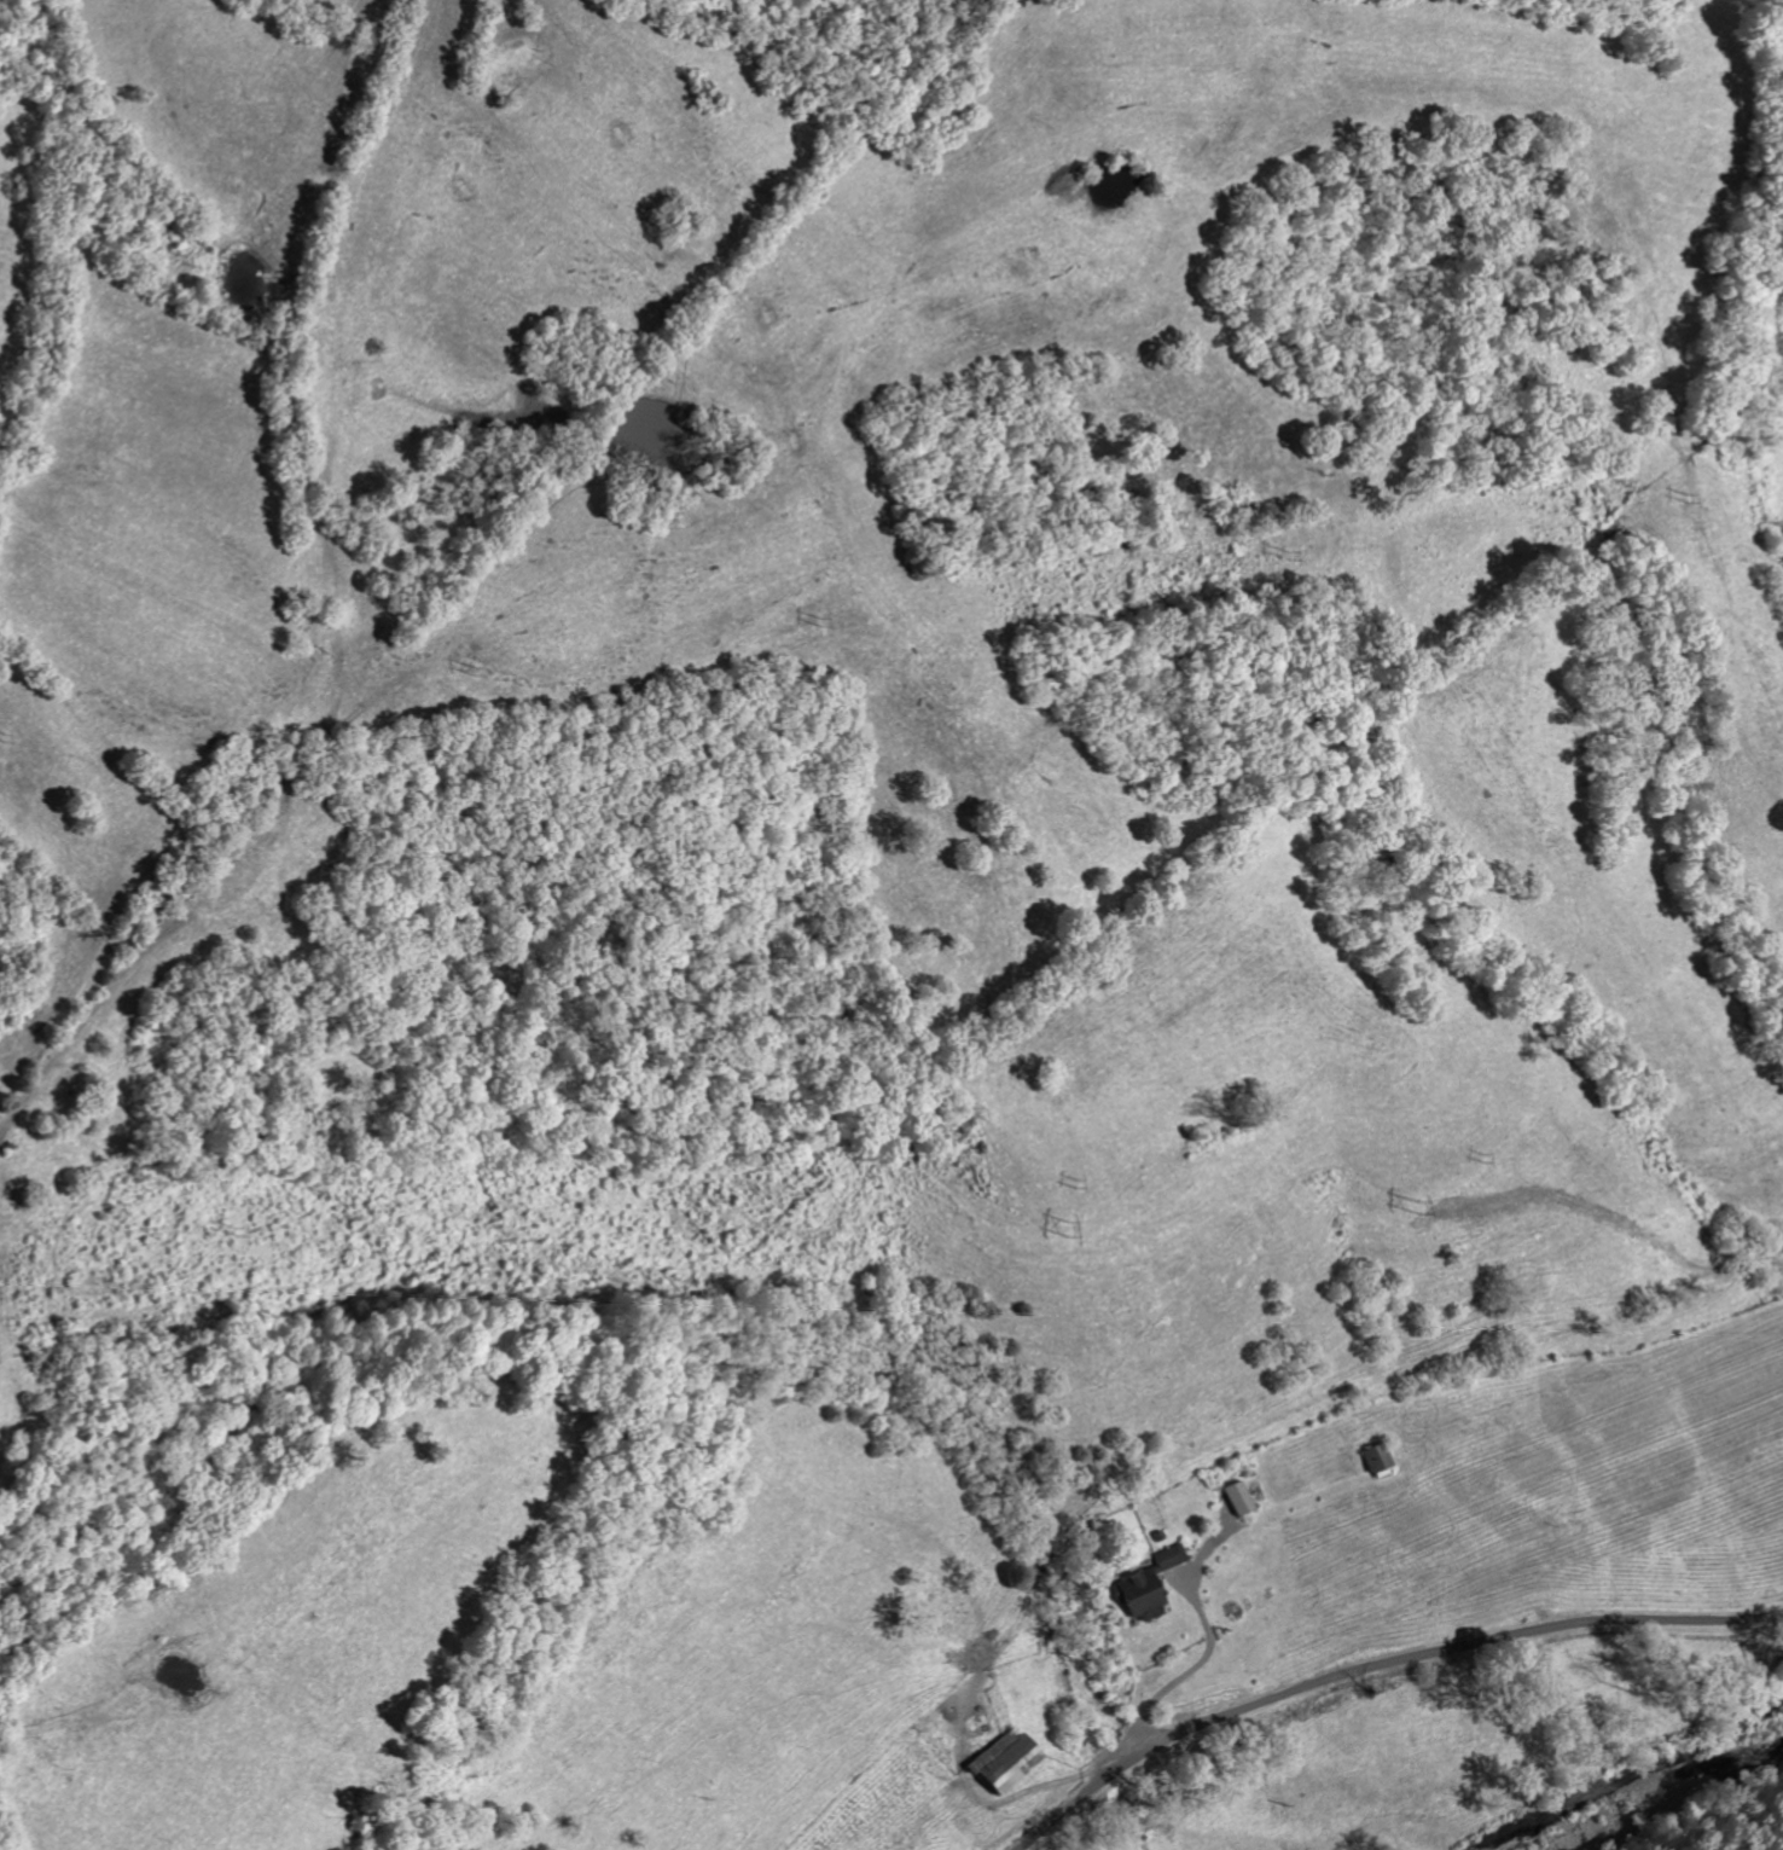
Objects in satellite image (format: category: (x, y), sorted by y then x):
power tower: (1684, 494)
power tower: (1287, 551)
power tower: (820, 620)
power tower: (471, 665)
power tower: (4, 730)
power tower: (1481, 1154)
power tower: (1074, 1181)
power tower: (1415, 1202)
power tower: (230, 1225)
power tower: (1063, 1225)
building: (1378, 1461)
building: (1239, 1500)
building: (1146, 1587)
road: (1381, 1666)
road: (1180, 1674)
building: (1004, 1763)
road: (1382, 1769)

